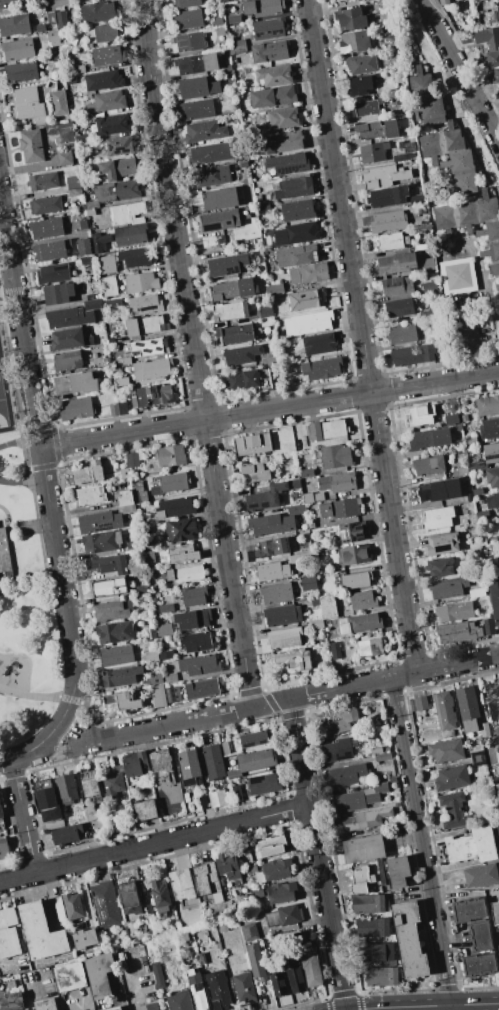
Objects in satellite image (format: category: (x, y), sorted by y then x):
building: (482, 0)
building: (498, 0)
building: (220, 1)
building: (342, 1)
building: (443, 2)
building: (186, 3)
building: (262, 7)
building: (99, 13)
building: (63, 16)
building: (187, 19)
building: (233, 19)
building: (351, 19)
building: (217, 21)
building: (14, 26)
building: (41, 28)
building: (268, 29)
building: (220, 31)
building: (103, 32)
building: (53, 38)
building: (488, 38)
building: (190, 42)
building: (354, 42)
building: (88, 45)
building: (238, 46)
building: (17, 49)
building: (270, 51)
building: (108, 55)
building: (56, 58)
building: (492, 60)
building: (197, 64)
building: (362, 64)
building: (237, 66)
building: (77, 69)
building: (21, 72)
road: (459, 74)
building: (496, 75)
building: (274, 76)
building: (103, 80)
building: (71, 81)
building: (361, 85)
building: (197, 88)
building: (272, 97)
building: (426, 99)
building: (106, 102)
building: (59, 103)
building: (28, 105)
building: (368, 108)
building: (198, 110)
road: (452, 114)
building: (278, 119)
building: (110, 125)
building: (378, 130)
building: (204, 131)
building: (282, 143)
building: (31, 146)
building: (118, 146)
building: (406, 146)
building: (373, 152)
building: (210, 153)
building: (403, 157)
building: (451, 157)
building: (64, 158)
building: (288, 164)
building: (117, 169)
building: (214, 176)
building: (383, 176)
building: (42, 181)
building: (73, 186)
building: (293, 188)
building: (117, 191)
building: (387, 197)
building: (218, 199)
building: (417, 200)
building: (91, 205)
building: (45, 206)
building: (262, 207)
building: (420, 210)
building: (297, 211)
building: (90, 212)
building: (126, 214)
building: (219, 221)
building: (389, 222)
building: (474, 224)
building: (83, 225)
building: (46, 229)
building: (266, 231)
building: (296, 234)
building: (130, 235)
building: (214, 241)
building: (391, 241)
road: (6, 242)
building: (98, 242)
building: (84, 247)
building: (52, 250)
building: (296, 256)
building: (135, 257)
building: (86, 261)
building: (227, 264)
building: (395, 264)
building: (106, 265)
building: (427, 265)
building: (90, 268)
building: (52, 274)
building: (308, 274)
building: (458, 276)
road: (6, 279)
building: (141, 283)
building: (109, 286)
building: (397, 286)
building: (429, 287)
building: (276, 289)
building: (497, 289)
building: (233, 290)
building: (57, 294)
building: (307, 299)
building: (113, 303)
building: (92, 305)
building: (145, 305)
building: (399, 308)
building: (229, 311)
building: (265, 312)
building: (68, 317)
building: (311, 323)
building: (144, 325)
building: (235, 334)
building: (401, 334)
road: (361, 336)
building: (429, 338)
building: (70, 339)
building: (319, 344)
building: (150, 347)
road: (194, 353)
building: (242, 355)
building: (413, 355)
building: (123, 361)
building: (272, 361)
building: (67, 362)
building: (321, 368)
building: (151, 369)
road: (1, 370)
building: (247, 380)
building: (122, 382)
building: (75, 383)
road: (7, 396)
building: (152, 396)
building: (121, 402)
building: (487, 406)
park: (3, 408)
building: (76, 409)
building: (113, 410)
road: (269, 410)
building: (421, 415)
building: (466, 418)
building: (451, 419)
road: (37, 424)
building: (489, 429)
building: (327, 430)
building: (429, 440)
building: (470, 441)
road: (19, 442)
building: (252, 445)
building: (491, 453)
building: (334, 457)
building: (166, 458)
building: (132, 460)
building: (428, 465)
building: (477, 467)
building: (460, 471)
building: (89, 473)
building: (254, 473)
building: (306, 473)
building: (492, 477)
road: (23, 482)
building: (338, 482)
building: (169, 483)
building: (439, 490)
building: (478, 490)
building: (90, 495)
building: (269, 496)
building: (140, 497)
building: (126, 498)
building: (308, 499)
building: (493, 501)
building: (175, 508)
building: (341, 508)
building: (128, 509)
building: (296, 509)
building: (482, 515)
building: (437, 518)
building: (99, 522)
building: (271, 524)
building: (310, 524)
road: (18, 529)
building: (181, 530)
building: (351, 532)
building: (101, 542)
building: (441, 544)
building: (271, 547)
building: (4, 549)
building: (183, 553)
building: (355, 555)
building: (149, 558)
building: (300, 558)
building: (107, 564)
building: (440, 567)
building: (269, 571)
building: (185, 574)
park: (22, 579)
building: (354, 580)
building: (308, 583)
building: (107, 587)
building: (448, 587)
building: (141, 589)
building: (477, 592)
building: (276, 593)
building: (194, 596)
building: (299, 596)
building: (362, 600)
building: (314, 601)
building: (494, 601)
building: (328, 606)
building: (165, 608)
building: (110, 611)
building: (454, 611)
building: (282, 615)
building: (185, 621)
building: (360, 623)
building: (316, 624)
building: (488, 626)
building: (114, 632)
building: (457, 632)
building: (150, 633)
road: (70, 635)
building: (284, 637)
building: (197, 641)
building: (369, 648)
building: (335, 650)
building: (116, 655)
building: (166, 655)
building: (151, 656)
building: (294, 659)
building: (199, 665)
building: (119, 677)
building: (170, 677)
building: (154, 680)
building: (201, 688)
building: (173, 694)
building: (158, 696)
road: (61, 697)
road: (285, 699)
building: (492, 699)
building: (122, 701)
building: (420, 703)
building: (443, 706)
building: (468, 707)
road: (66, 709)
building: (339, 723)
building: (485, 729)
building: (496, 730)
road: (48, 735)
building: (252, 739)
building: (497, 742)
road: (52, 748)
building: (224, 748)
building: (339, 749)
building: (386, 749)
building: (446, 750)
road: (21, 754)
building: (382, 757)
building: (476, 757)
road: (5, 760)
building: (213, 762)
building: (251, 762)
building: (161, 763)
building: (136, 766)
building: (189, 766)
building: (347, 775)
building: (451, 778)
building: (392, 779)
building: (112, 783)
building: (264, 784)
building: (90, 786)
building: (66, 789)
building: (497, 790)
building: (236, 793)
building: (217, 798)
building: (358, 798)
building: (47, 801)
building: (204, 802)
building: (453, 809)
building: (145, 810)
building: (89, 813)
road: (23, 816)
building: (364, 819)
building: (1, 820)
building: (66, 835)
road: (172, 839)
road: (421, 841)
building: (472, 845)
building: (270, 847)
building: (4, 848)
building: (363, 849)
road: (317, 854)
building: (246, 858)
building: (228, 866)
building: (253, 868)
building: (274, 870)
building: (398, 871)
building: (380, 872)
building: (480, 875)
road: (18, 878)
building: (361, 880)
building: (208, 881)
building: (182, 884)
building: (281, 892)
building: (160, 894)
building: (129, 898)
building: (367, 903)
building: (105, 905)
building: (75, 906)
building: (149, 908)
building: (469, 909)
building: (495, 914)
building: (283, 916)
building: (8, 917)
building: (92, 926)
building: (372, 927)
building: (78, 931)
building: (249, 932)
building: (40, 933)
building: (481, 936)
building: (183, 937)
building: (84, 938)
building: (293, 940)
building: (409, 940)
building: (9, 943)
building: (498, 948)
building: (376, 953)
building: (202, 959)
building: (255, 961)
building: (480, 965)
building: (311, 969)
building: (157, 974)
building: (99, 975)
building: (69, 976)
building: (381, 976)
building: (296, 979)
building: (10, 984)
building: (278, 984)
building: (244, 987)
building: (197, 990)
building: (218, 990)
building: (179, 1000)
building: (11, 1001)
building: (45, 1004)
road: (426, 1005)
building: (148, 1007)
building: (114, 1008)

